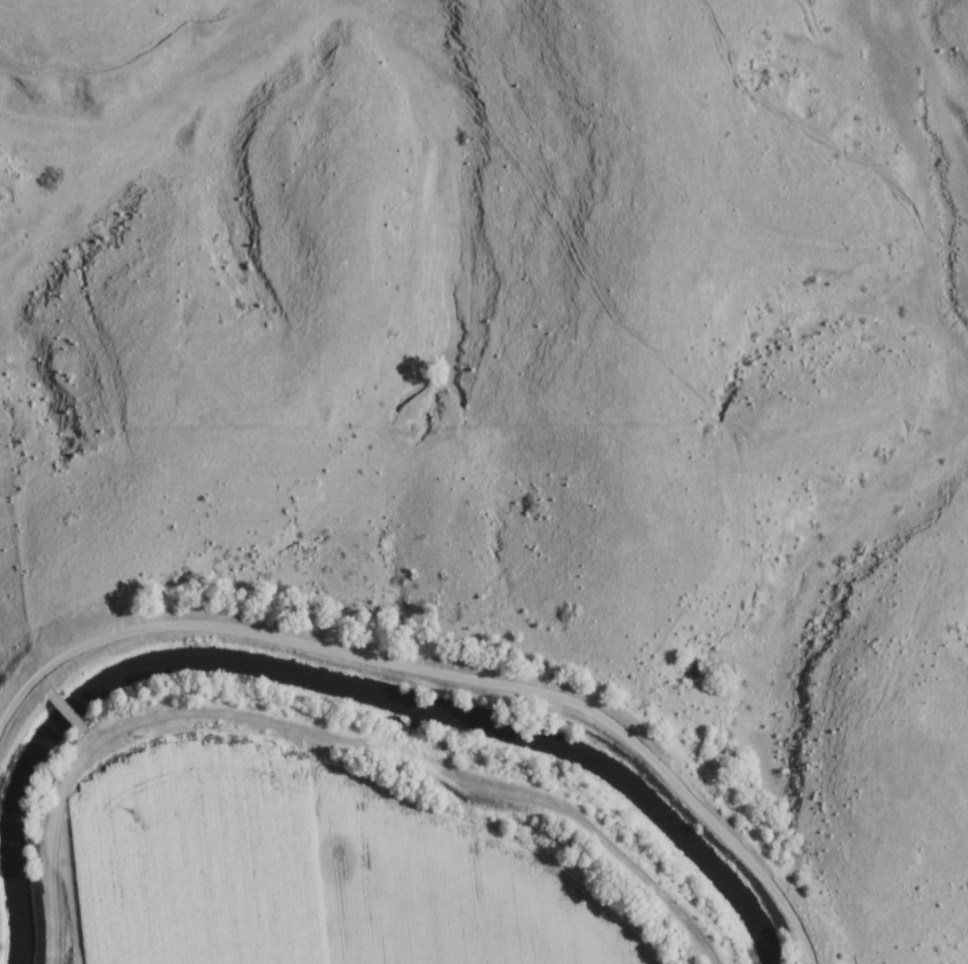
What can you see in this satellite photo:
road: (448, 676)
crop: (307, 872)

